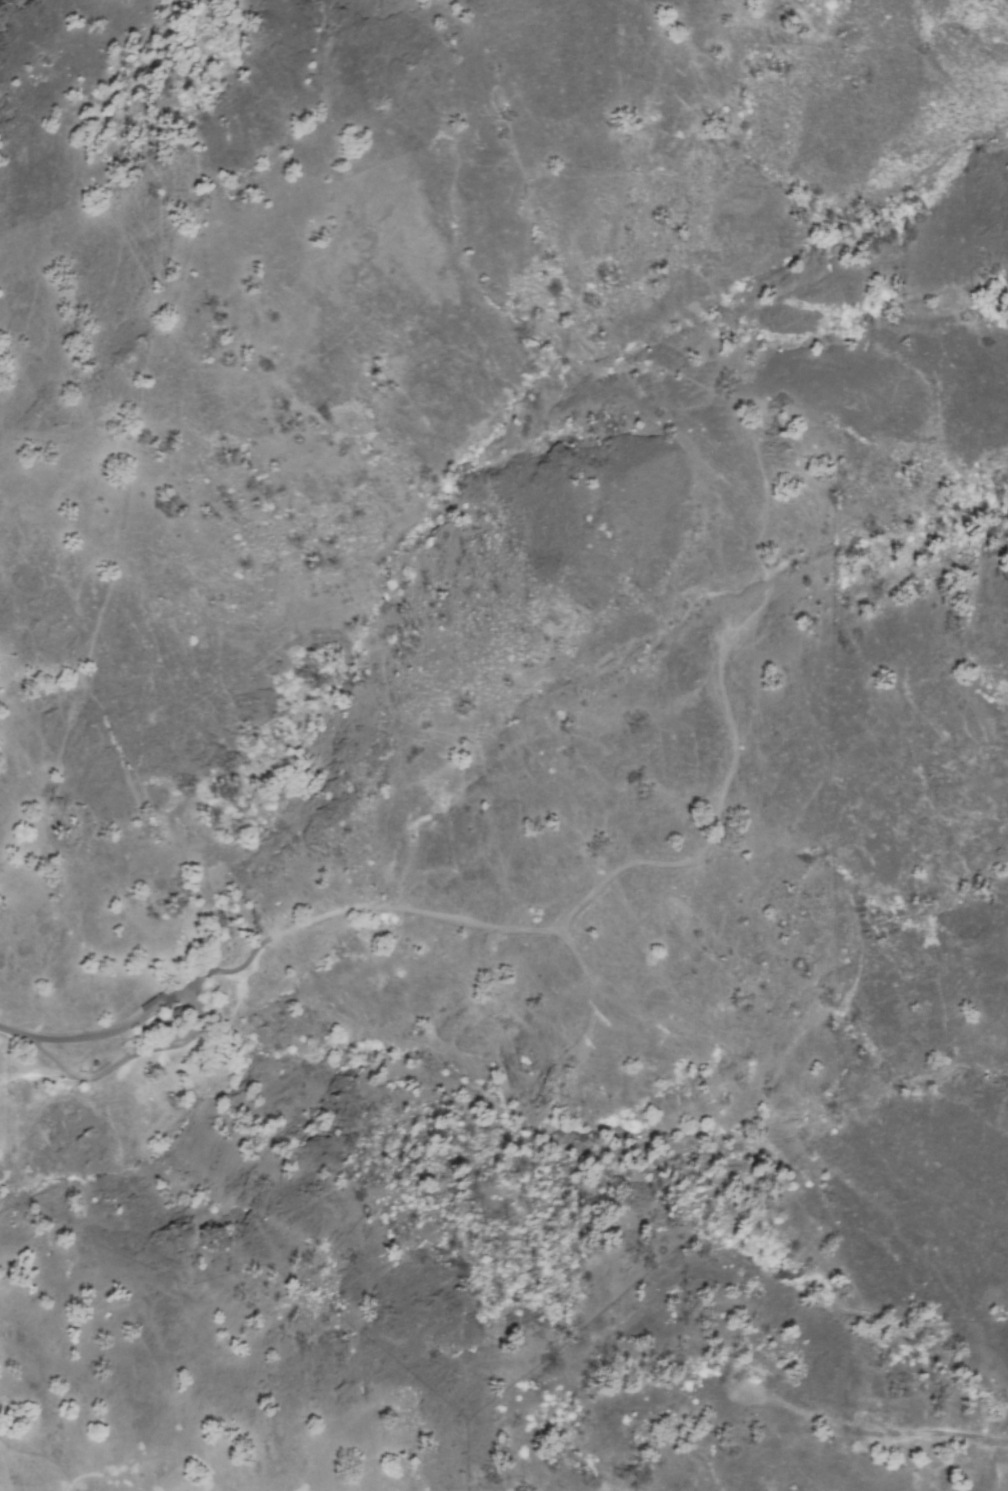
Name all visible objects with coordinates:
road: (144, 1016)

